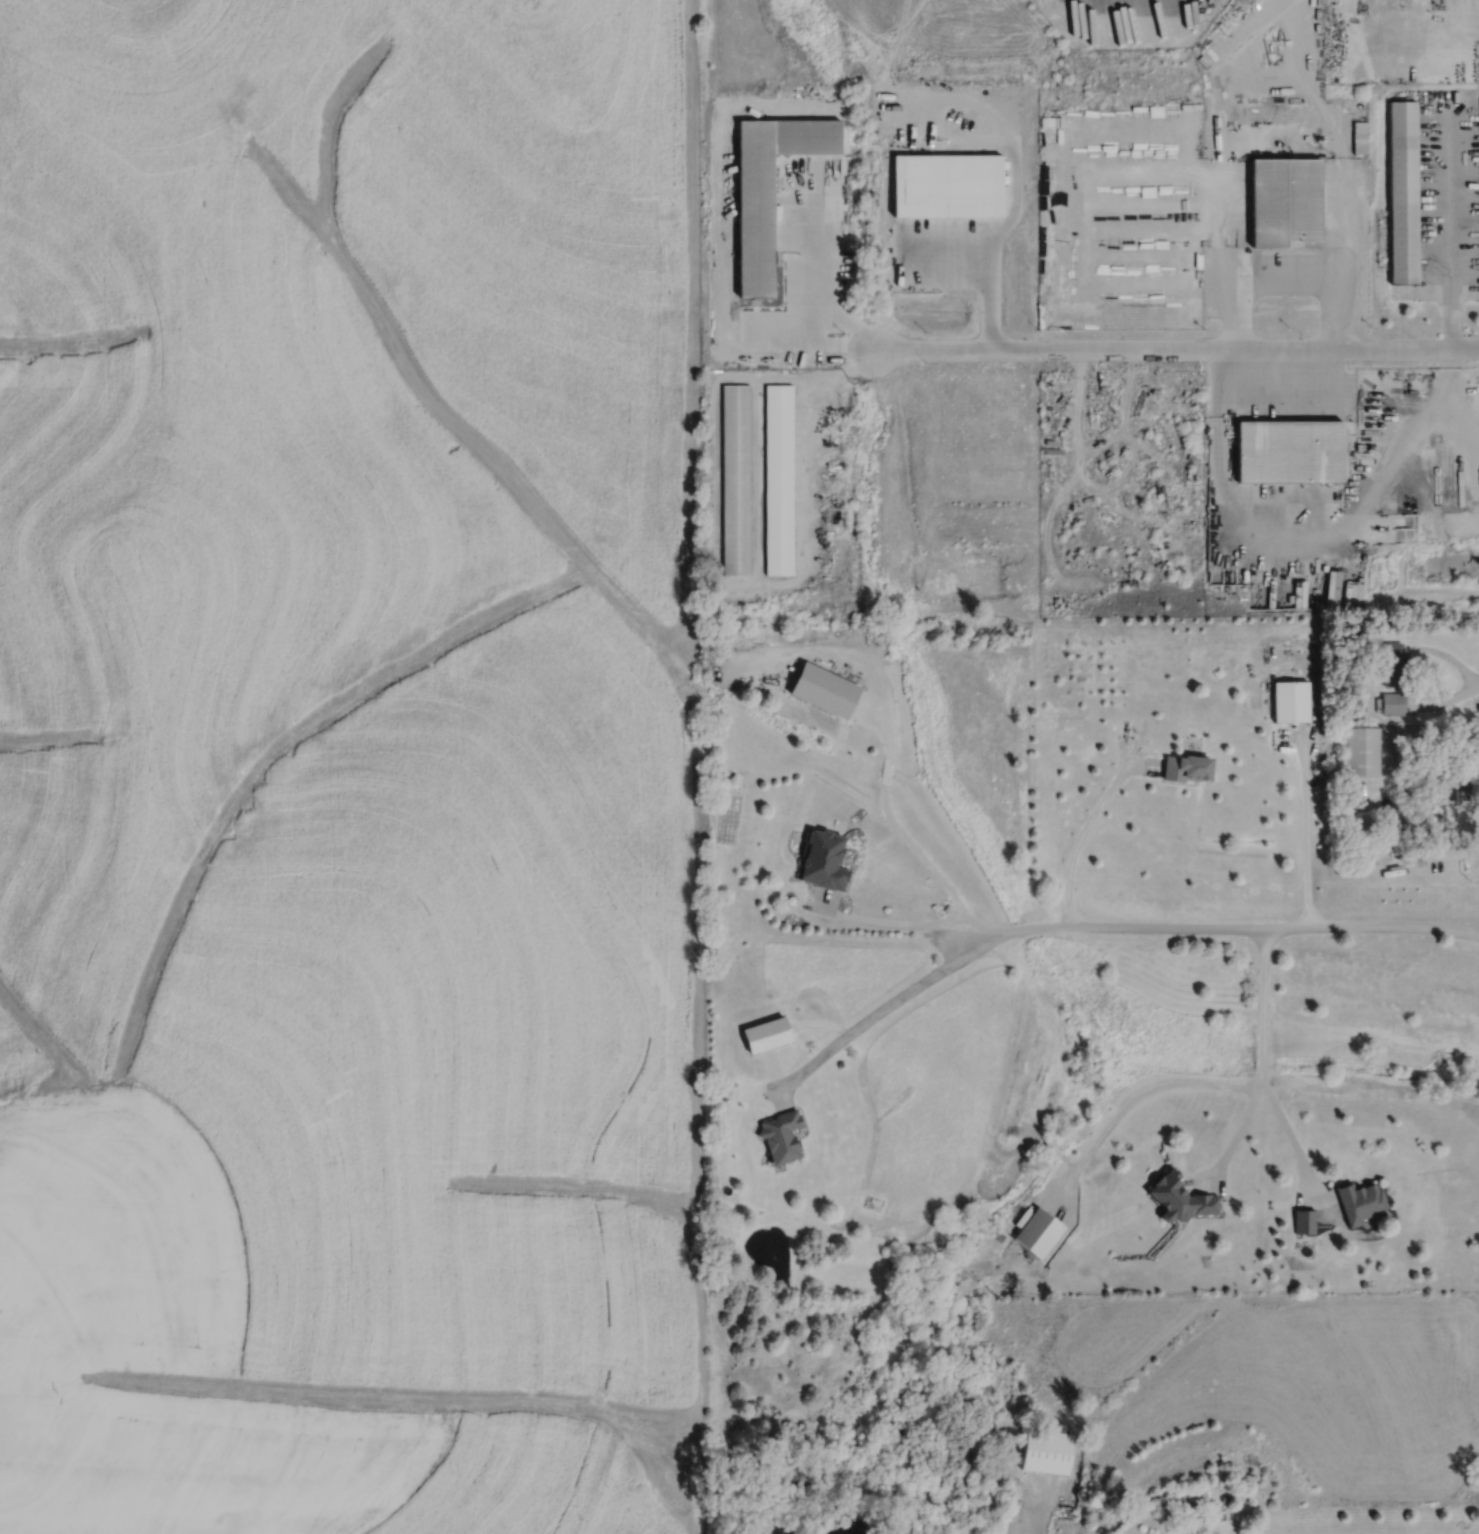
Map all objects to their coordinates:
building: (770, 189)
building: (1404, 192)
building: (1286, 203)
road: (1449, 233)
road: (995, 245)
building: (1116, 250)
road: (952, 259)
road: (1283, 277)
road: (824, 290)
road: (1176, 351)
building: (736, 479)
building: (779, 479)
building: (1393, 663)
road: (1398, 673)
building: (1291, 700)
building: (1394, 703)
road: (886, 738)
building: (1362, 749)
building: (1187, 767)
road: (886, 770)
building: (1453, 782)
road: (1086, 834)
road: (1308, 834)
road: (924, 858)
building: (824, 859)
road: (1444, 864)
road: (896, 918)
road: (1223, 933)
road: (878, 1018)
road: (1265, 1062)
road: (1137, 1094)
road: (1293, 1132)
building: (781, 1136)
building: (1183, 1198)
building: (1361, 1202)
building: (1039, 1232)
building: (1047, 1451)
road: (1034, 1521)

